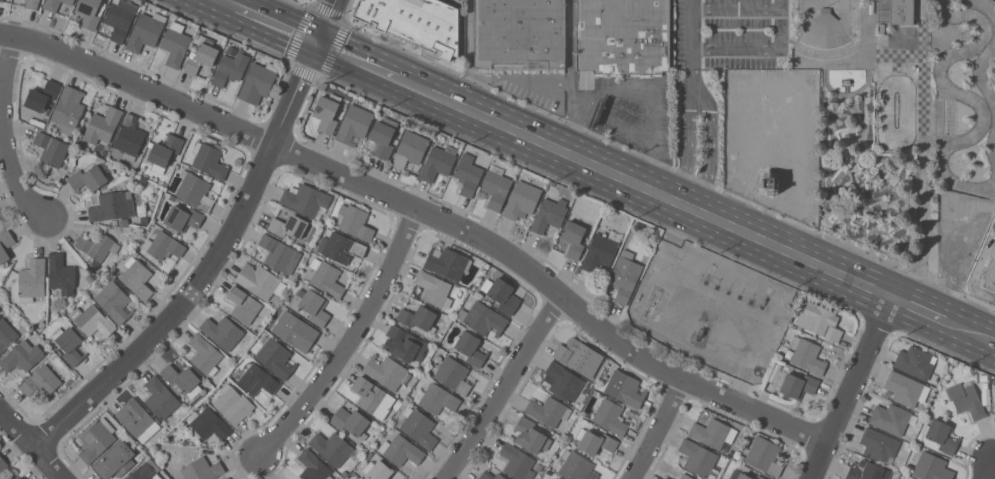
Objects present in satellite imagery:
building: (1, 0)
building: (29, 3)
building: (54, 4)
building: (893, 12)
building: (88, 13)
building: (120, 18)
road: (270, 21)
building: (415, 22)
building: (145, 31)
building: (519, 34)
building: (623, 36)
building: (901, 37)
road: (469, 39)
traffic signals: (320, 43)
building: (175, 45)
building: (201, 57)
road: (369, 65)
building: (229, 69)
road: (571, 77)
road: (521, 79)
building: (257, 82)
road: (458, 89)
road: (641, 92)
building: (41, 96)
road: (579, 107)
building: (68, 109)
building: (326, 113)
building: (36, 123)
road: (617, 124)
building: (102, 125)
building: (354, 125)
road: (3, 133)
building: (130, 136)
building: (381, 140)
building: (150, 144)
building: (51, 149)
building: (410, 149)
building: (164, 151)
building: (208, 160)
building: (437, 162)
road: (651, 164)
building: (468, 175)
building: (88, 179)
building: (551, 183)
road: (700, 183)
building: (496, 187)
building: (195, 190)
road: (657, 192)
building: (171, 198)
building: (306, 200)
building: (521, 200)
building: (110, 206)
road: (425, 213)
building: (549, 215)
building: (183, 218)
building: (143, 220)
building: (336, 220)
parking lot: (991, 220)
building: (123, 221)
building: (114, 222)
building: (354, 222)
building: (289, 226)
building: (573, 239)
building: (5, 245)
building: (96, 246)
building: (163, 246)
road: (224, 248)
building: (341, 249)
building: (131, 251)
building: (600, 252)
building: (134, 254)
building: (279, 254)
building: (447, 263)
road: (975, 273)
building: (61, 274)
building: (988, 274)
building: (624, 276)
building: (325, 277)
building: (89, 278)
building: (136, 278)
road: (920, 279)
building: (31, 280)
building: (260, 281)
building: (433, 289)
building: (501, 294)
building: (88, 299)
building: (114, 302)
building: (310, 305)
building: (244, 306)
road: (924, 311)
building: (418, 318)
building: (483, 319)
building: (92, 321)
building: (819, 322)
building: (41, 325)
petroleum well: (702, 327)
building: (294, 331)
building: (224, 333)
road: (975, 333)
building: (6, 335)
road: (350, 339)
building: (404, 344)
building: (69, 345)
building: (471, 348)
building: (204, 354)
building: (576, 355)
building: (807, 355)
building: (21, 356)
building: (276, 358)
building: (915, 362)
building: (386, 371)
building: (454, 375)
building: (180, 378)
building: (983, 378)
building: (257, 380)
building: (41, 381)
building: (563, 381)
building: (992, 381)
building: (794, 384)
building: (984, 385)
road: (503, 388)
road: (850, 388)
building: (625, 389)
building: (904, 389)
building: (372, 397)
building: (159, 398)
building: (436, 399)
building: (966, 399)
building: (232, 404)
building: (547, 411)
building: (609, 416)
building: (890, 418)
building: (994, 418)
building: (994, 420)
building: (138, 421)
building: (350, 422)
building: (208, 424)
building: (419, 428)
road: (658, 429)
building: (711, 433)
building: (529, 436)
building: (941, 436)
building: (95, 440)
road: (33, 442)
building: (595, 442)
building: (878, 444)
building: (332, 447)
building: (400, 450)
building: (736, 454)
building: (764, 456)
building: (698, 459)
building: (114, 461)
building: (516, 462)
building: (2, 464)
building: (312, 466)
building: (576, 467)
building: (931, 467)
road: (985, 468)
building: (201, 469)
building: (746, 469)
building: (377, 470)
building: (146, 471)
building: (866, 471)
building: (490, 475)
building: (684, 476)
building: (743, 476)
building: (0, 478)
building: (18, 478)
building: (225, 478)
building: (227, 478)
building: (556, 478)
building: (557, 478)
building: (664, 478)

